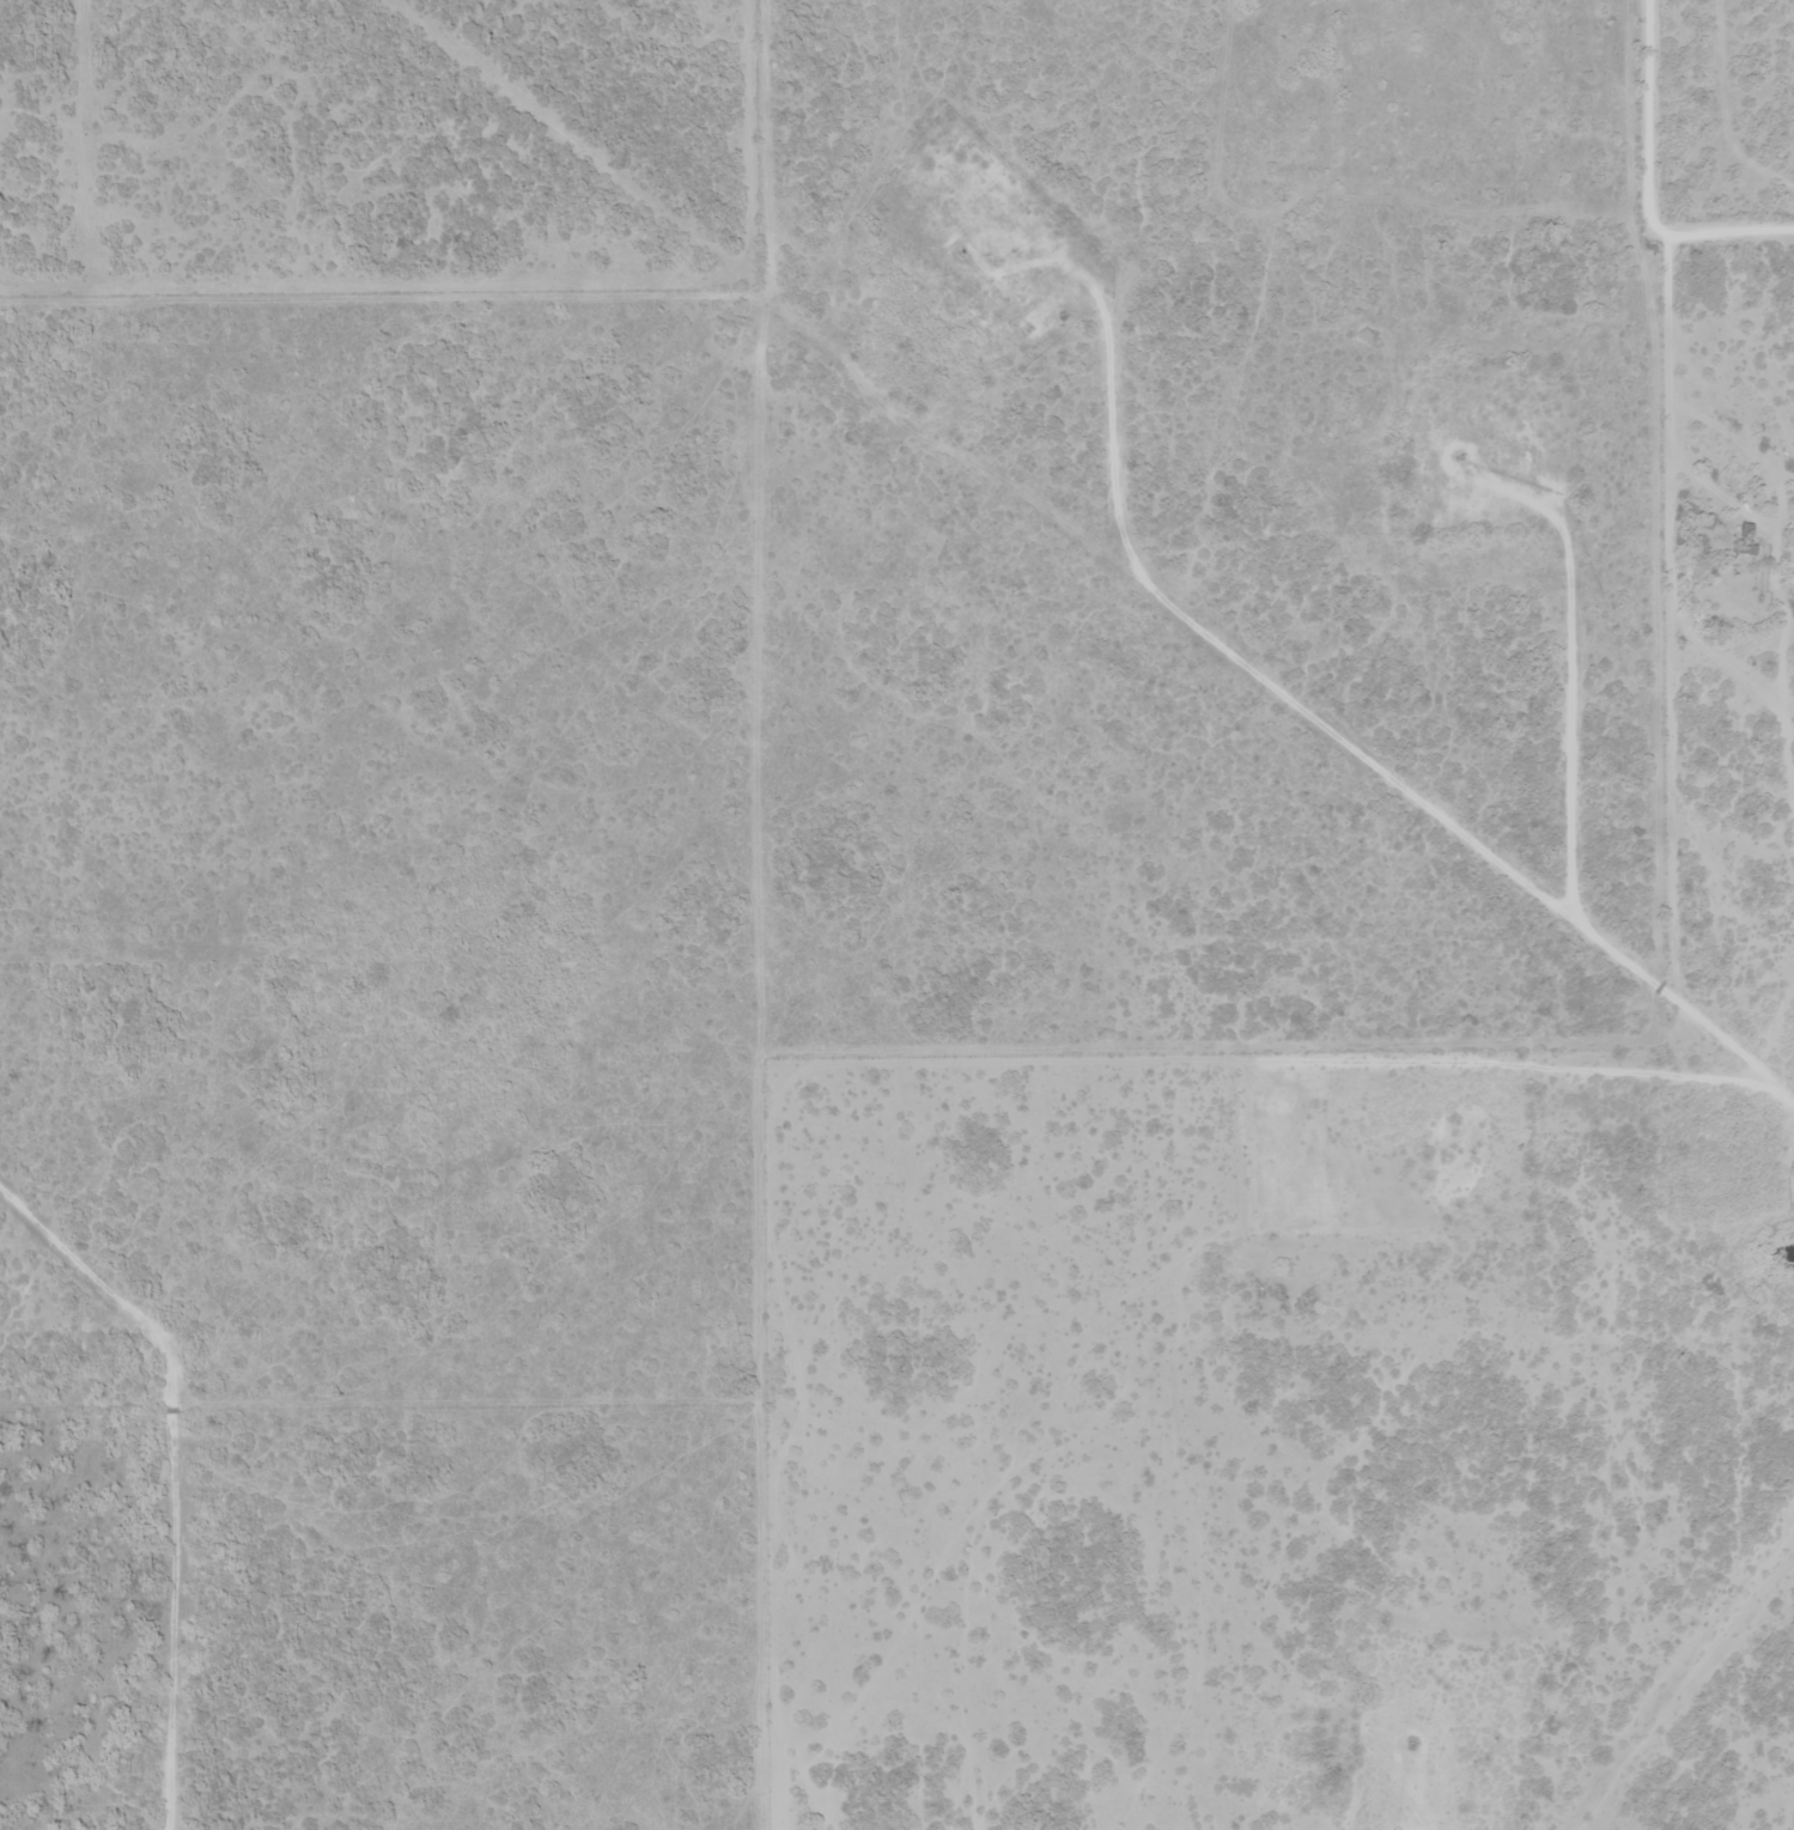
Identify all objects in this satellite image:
road: (1628, 168)
building: (1744, 531)

